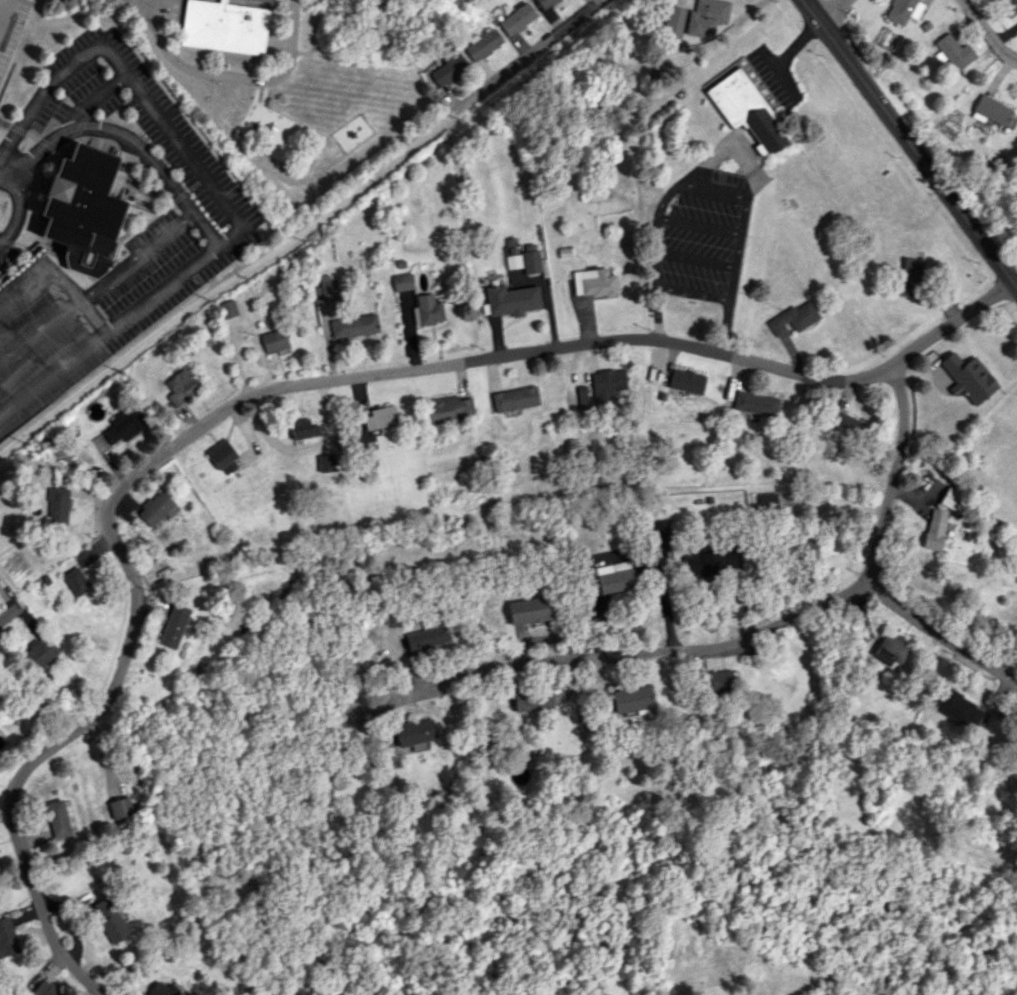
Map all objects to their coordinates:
building: (544, 3)
building: (1009, 6)
road: (830, 9)
building: (902, 10)
road: (6, 16)
building: (695, 17)
building: (516, 18)
building: (223, 26)
road: (987, 31)
building: (482, 44)
building: (952, 51)
building: (448, 69)
road: (93, 96)
road: (37, 99)
building: (745, 109)
building: (990, 110)
road: (109, 129)
road: (909, 136)
road: (711, 191)
road: (663, 198)
road: (19, 205)
building: (83, 210)
road: (697, 225)
road: (204, 229)
road: (303, 229)
road: (654, 235)
road: (224, 239)
road: (1, 241)
road: (135, 255)
building: (530, 258)
building: (513, 261)
road: (653, 263)
road: (40, 276)
road: (731, 277)
building: (910, 277)
building: (402, 281)
building: (593, 282)
building: (329, 287)
building: (511, 299)
building: (429, 309)
road: (92, 315)
building: (792, 318)
building: (353, 325)
road: (39, 329)
building: (275, 341)
road: (517, 356)
building: (968, 376)
building: (685, 380)
building: (182, 385)
building: (606, 385)
building: (514, 398)
building: (581, 398)
building: (754, 403)
building: (448, 408)
building: (380, 417)
building: (124, 424)
building: (844, 424)
building: (302, 428)
building: (222, 456)
road: (891, 477)
building: (950, 498)
building: (766, 501)
building: (57, 505)
building: (156, 508)
building: (934, 529)
building: (658, 537)
building: (806, 541)
road: (614, 554)
building: (710, 561)
building: (610, 577)
building: (75, 581)
building: (528, 610)
building: (173, 625)
building: (426, 637)
road: (941, 642)
building: (889, 651)
building: (38, 652)
road: (628, 654)
building: (716, 680)
building: (531, 699)
building: (631, 699)
building: (957, 707)
building: (413, 731)
building: (1016, 760)
building: (519, 774)
road: (20, 781)
building: (119, 807)
building: (57, 818)
building: (109, 920)
building: (7, 937)
building: (45, 989)
building: (160, 989)

